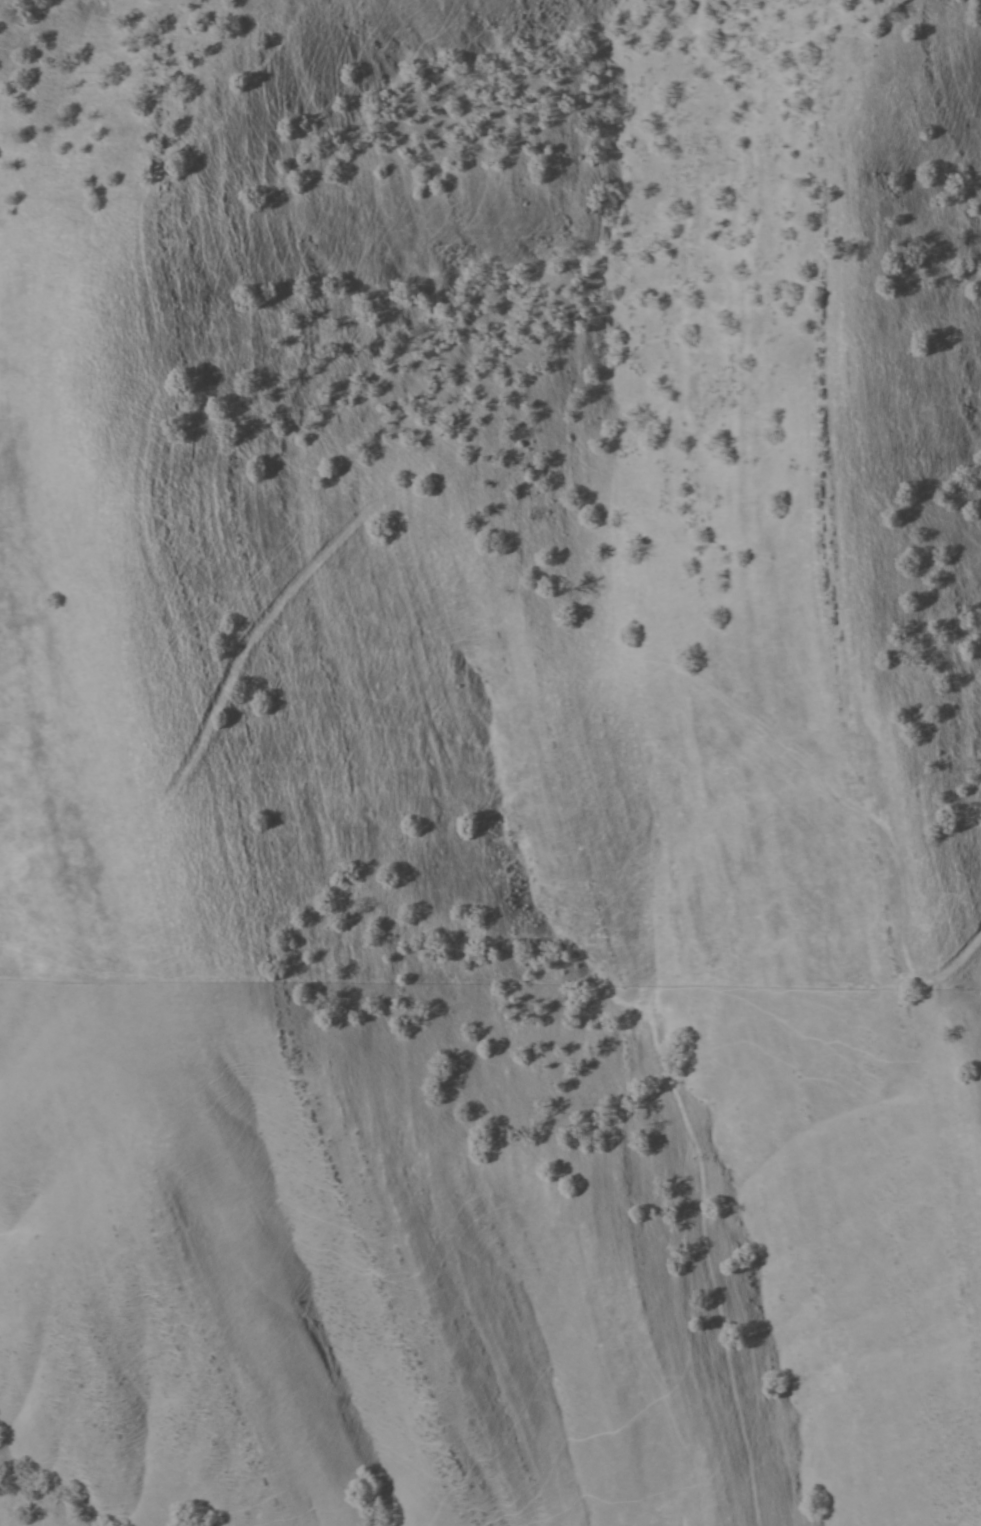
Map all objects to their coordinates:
road: (507, 1270)

